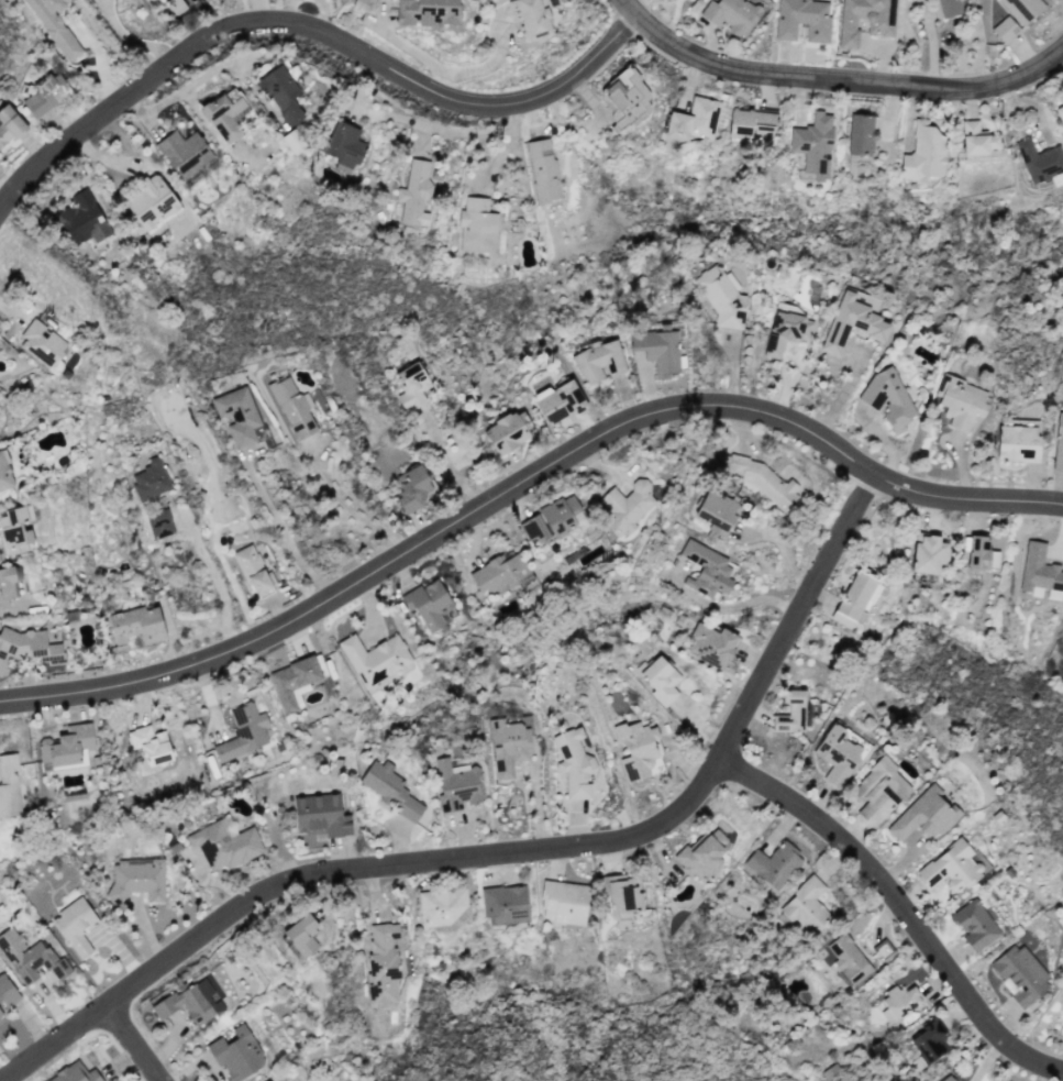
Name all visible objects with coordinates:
building: (174, 7)
building: (946, 8)
building: (1021, 9)
building: (425, 12)
building: (731, 14)
building: (531, 19)
building: (802, 20)
building: (54, 25)
building: (879, 26)
road: (309, 30)
building: (1004, 30)
road: (131, 37)
road: (837, 79)
building: (280, 92)
building: (45, 95)
building: (625, 98)
building: (224, 113)
building: (1060, 113)
building: (693, 120)
building: (749, 124)
building: (9, 125)
building: (809, 131)
building: (343, 132)
building: (859, 134)
building: (976, 139)
road: (450, 140)
building: (179, 146)
building: (923, 153)
building: (1039, 161)
building: (542, 169)
building: (413, 194)
building: (150, 202)
building: (82, 219)
building: (476, 227)
building: (720, 297)
building: (791, 324)
building: (42, 343)
building: (657, 350)
building: (598, 361)
building: (411, 385)
road: (846, 394)
building: (887, 399)
building: (558, 401)
building: (291, 407)
building: (236, 416)
building: (505, 433)
building: (1017, 442)
building: (1058, 443)
road: (446, 464)
building: (3, 475)
building: (757, 478)
building: (150, 479)
road: (525, 483)
building: (412, 488)
building: (625, 506)
road: (347, 509)
building: (716, 509)
building: (552, 518)
building: (158, 523)
building: (15, 530)
road: (283, 533)
building: (927, 553)
building: (979, 554)
building: (245, 559)
building: (707, 564)
building: (1036, 567)
building: (498, 573)
building: (5, 585)
road: (211, 588)
building: (852, 597)
building: (428, 604)
road: (735, 606)
building: (136, 625)
building: (702, 639)
building: (24, 646)
building: (372, 659)
building: (660, 680)
building: (292, 682)
building: (790, 712)
building: (252, 722)
building: (66, 744)
building: (150, 744)
building: (509, 744)
building: (844, 749)
building: (636, 750)
building: (573, 764)
building: (456, 784)
building: (387, 785)
building: (9, 786)
building: (878, 791)
building: (919, 814)
building: (319, 815)
building: (226, 843)
building: (706, 846)
road: (508, 852)
building: (959, 861)
building: (773, 863)
building: (136, 879)
building: (624, 897)
building: (563, 902)
building: (805, 904)
building: (505, 905)
building: (440, 906)
road: (900, 907)
building: (977, 924)
building: (75, 925)
building: (301, 936)
building: (883, 950)
building: (30, 959)
building: (848, 960)
building: (381, 963)
building: (1019, 974)
building: (202, 989)
building: (7, 993)
building: (899, 1003)
road: (134, 1040)
building: (929, 1043)
building: (236, 1054)
road: (1041, 1072)
building: (70, 1073)
building: (945, 1079)
building: (267, 1080)

